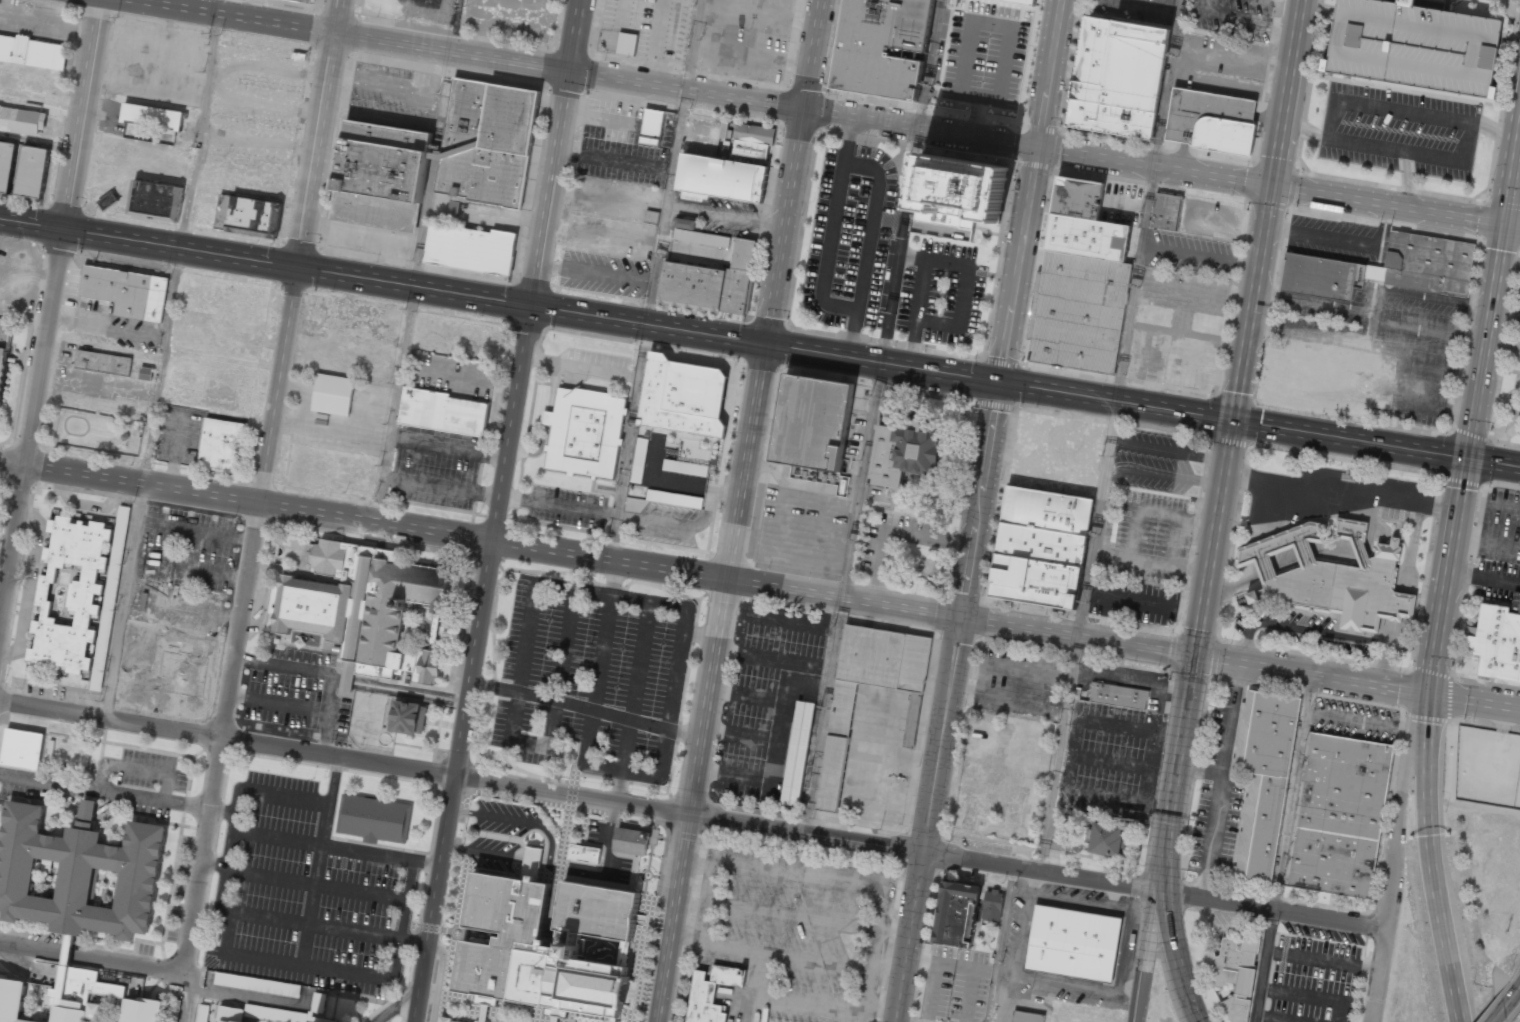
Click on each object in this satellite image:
building: (307, 1)
building: (1022, 2)
building: (987, 28)
building: (626, 43)
building: (1413, 45)
parking garage: (1413, 45)
building: (884, 48)
building: (33, 52)
traffic signals: (567, 71)
road: (584, 73)
building: (1117, 77)
traffic signals: (804, 108)
building: (152, 116)
building: (22, 121)
building: (1210, 121)
building: (653, 125)
parking lot: (1400, 130)
road: (320, 134)
building: (488, 140)
building: (752, 140)
traffic signals: (1036, 148)
road: (553, 152)
building: (6, 164)
building: (32, 171)
road: (794, 171)
building: (380, 174)
building: (721, 176)
traffic signals: (1268, 184)
road: (1278, 186)
building: (960, 191)
building: (1077, 197)
building: (109, 201)
building: (153, 201)
building: (454, 209)
road: (1264, 209)
building: (1166, 210)
building: (248, 216)
building: (651, 216)
parking lot: (1211, 218)
traffic signals: (1504, 229)
traffic signals: (63, 230)
building: (697, 234)
building: (1087, 237)
parking lot: (1333, 238)
road: (150, 244)
building: (471, 248)
parking lot: (1189, 254)
building: (1385, 268)
traffic signals: (300, 270)
building: (740, 274)
road: (1133, 284)
building: (693, 285)
road: (414, 288)
building: (126, 291)
building: (1519, 295)
traffic signals: (528, 306)
building: (1519, 307)
road: (1009, 309)
building: (1080, 311)
road: (49, 315)
parking lot: (1517, 315)
road: (648, 325)
parking lot: (1318, 326)
parking lot: (1178, 328)
traffic signals: (768, 344)
parking lot: (1515, 350)
building: (4, 351)
parking lot: (1413, 356)
building: (103, 362)
road: (883, 363)
building: (145, 373)
building: (1309, 381)
traffic signals: (998, 382)
building: (331, 394)
building: (681, 396)
road: (1114, 401)
building: (441, 412)
traffic signals: (1232, 420)
building: (811, 422)
building: (584, 432)
road: (1375, 443)
building: (220, 445)
building: (902, 453)
building: (1046, 459)
traffic signals: (1468, 459)
building: (638, 460)
parking lot: (1154, 460)
building: (685, 468)
parking lot: (1325, 492)
building: (674, 499)
park: (3, 502)
building: (1046, 510)
parking lot: (1501, 526)
parking lot: (1145, 534)
road: (1212, 537)
road: (480, 538)
building: (1041, 544)
building: (1326, 575)
parking lot: (1497, 580)
building: (1035, 581)
building: (79, 596)
building: (362, 607)
road: (239, 622)
road: (1076, 637)
building: (1497, 642)
traffic signals: (1192, 655)
road: (470, 664)
parking lot: (591, 679)
road: (1356, 681)
road: (712, 683)
traffic signals: (1428, 693)
building: (1119, 695)
building: (408, 718)
building: (911, 720)
parking lot: (1354, 720)
road: (943, 736)
road: (1178, 740)
building: (22, 749)
building: (834, 751)
building: (796, 753)
power substation: (1488, 766)
road: (462, 777)
building: (1262, 778)
parking lot: (1218, 799)
road: (1399, 808)
building: (1339, 814)
building: (372, 819)
building: (1108, 839)
building: (631, 841)
building: (583, 854)
road: (1159, 858)
road: (1164, 859)
road: (1039, 871)
building: (78, 872)
parking lot: (305, 893)
building: (992, 905)
road: (1268, 910)
building: (955, 914)
road: (1270, 929)
parking lot: (1323, 933)
road: (912, 937)
building: (543, 942)
building: (1073, 943)
building: (66, 950)
building: (623, 953)
road: (1309, 955)
road: (1143, 956)
road: (1177, 958)
road: (91, 960)
road: (1265, 968)
building: (1234, 974)
road: (1377, 975)
parking lot: (1313, 980)
building: (257, 984)
road: (1519, 988)
building: (710, 992)
building: (77, 993)
road: (1304, 994)
building: (10, 1000)
park: (1160, 1001)
road: (1260, 1003)
road: (1505, 1006)
building: (141, 1011)
building: (202, 1013)
building: (229, 1016)
building: (1026, 1017)
road: (1257, 1019)
road: (1277, 1019)
building: (329, 1021)
building: (452, 1021)

